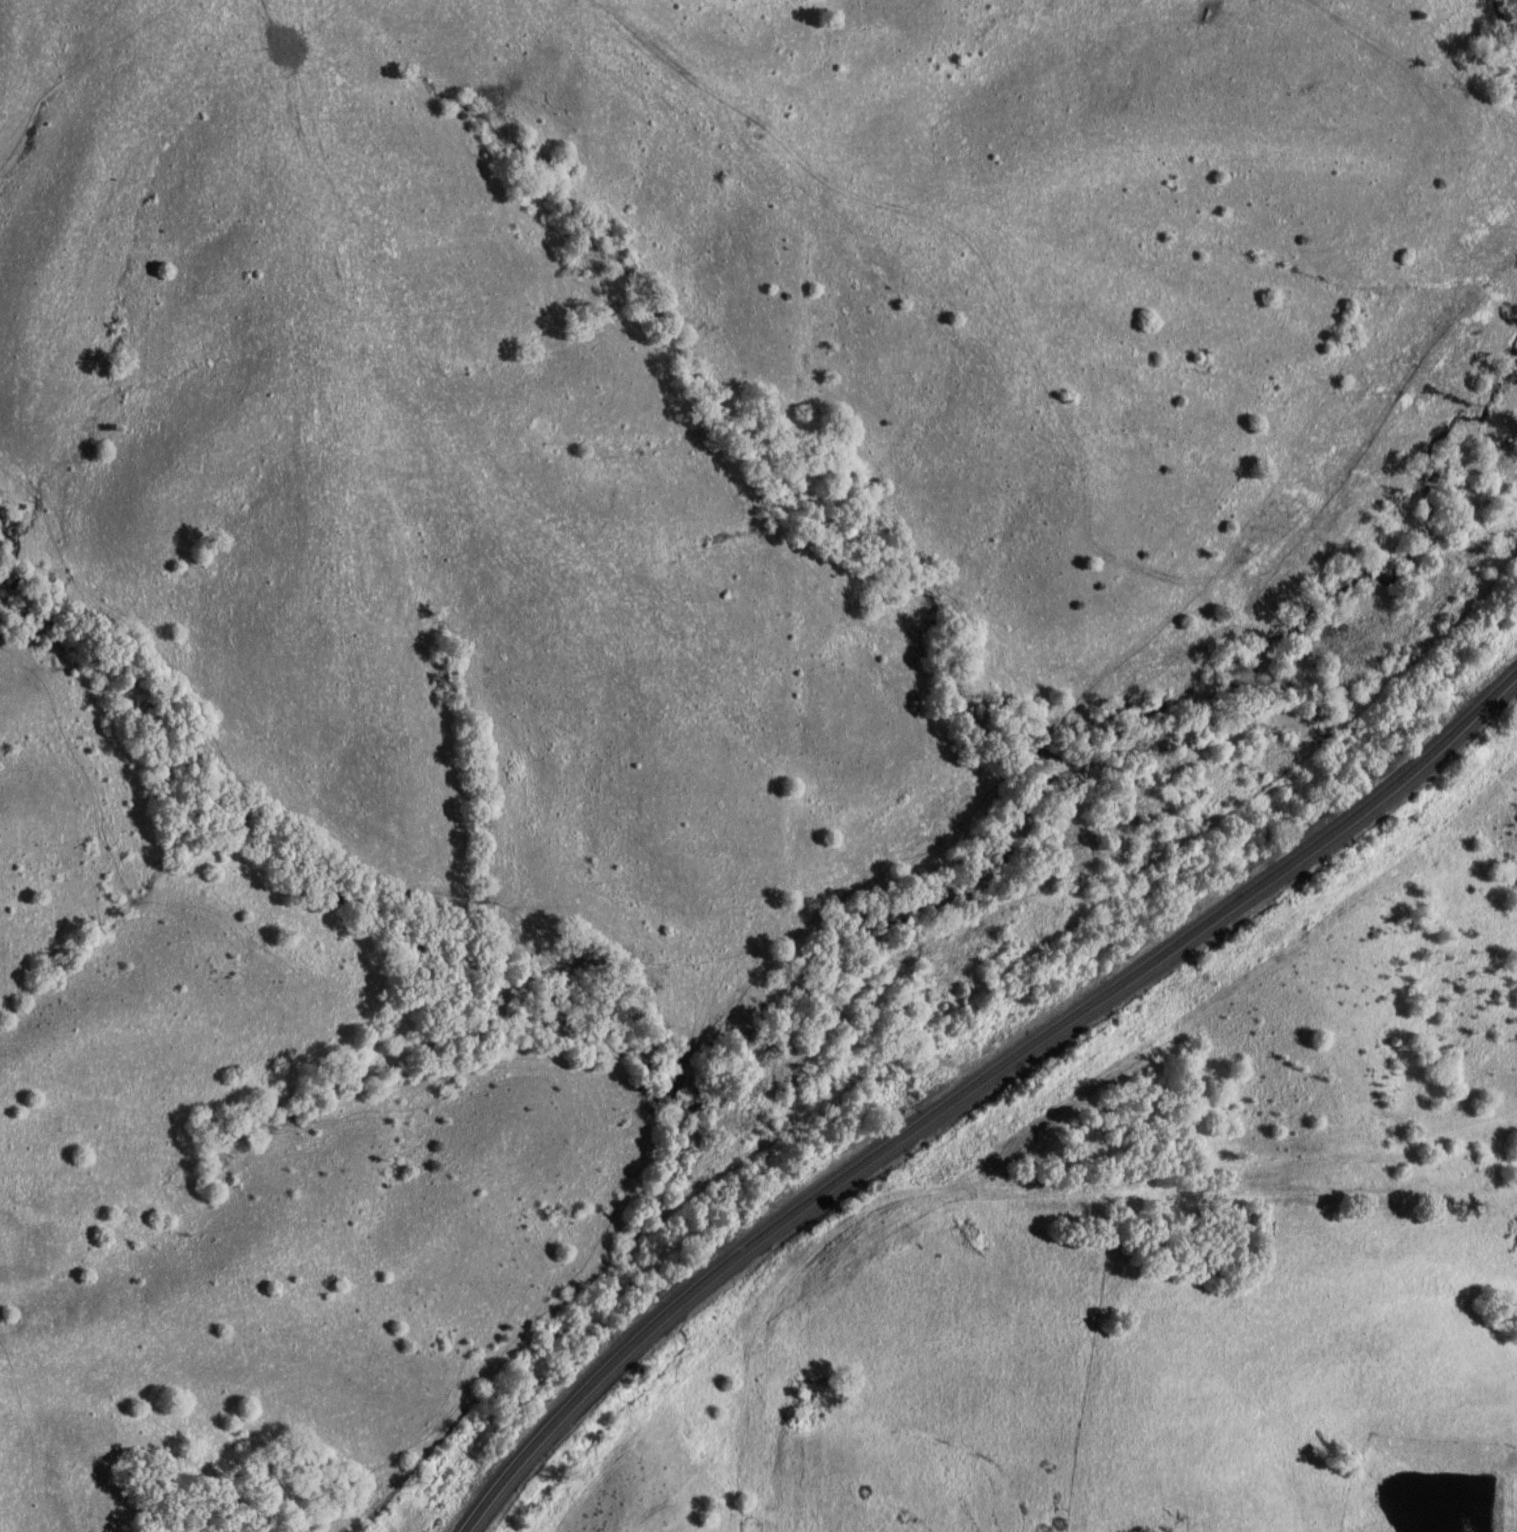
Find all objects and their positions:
railway: (1159, 955)
railway: (1161, 966)
railway: (609, 1359)
railway: (618, 1365)

